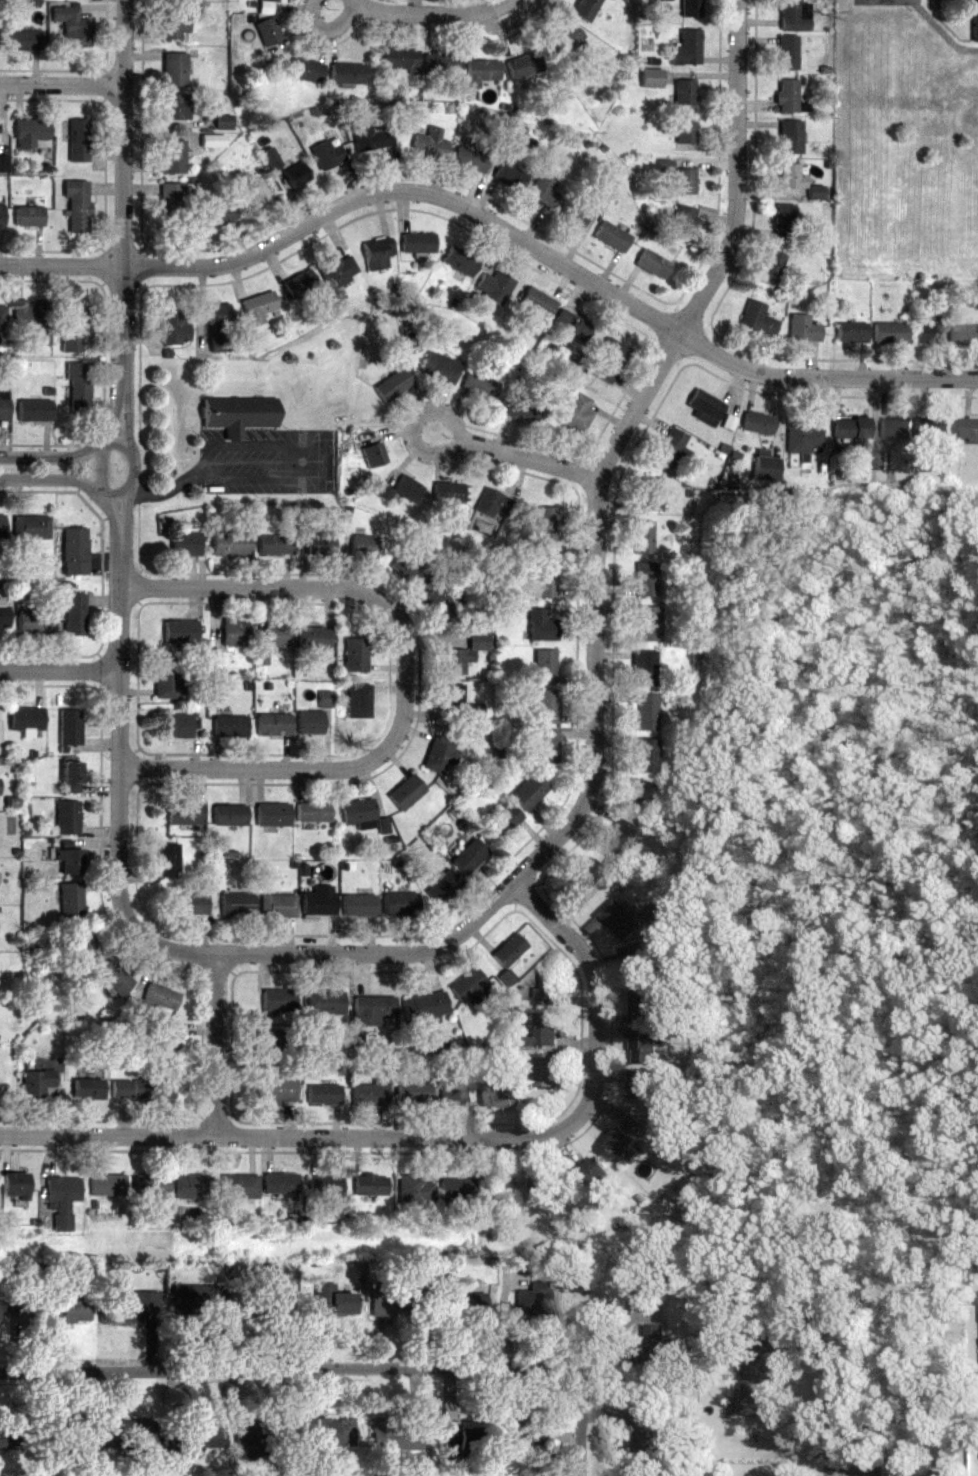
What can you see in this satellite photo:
building: (272, 0)
building: (658, 0)
road: (360, 2)
building: (690, 8)
building: (584, 9)
road: (437, 12)
building: (793, 15)
building: (974, 21)
building: (174, 25)
building: (71, 26)
road: (330, 28)
building: (268, 31)
building: (23, 40)
building: (565, 41)
building: (686, 48)
building: (787, 53)
building: (400, 60)
building: (439, 62)
building: (523, 66)
building: (173, 70)
building: (305, 70)
building: (481, 72)
building: (346, 74)
building: (650, 78)
road: (63, 84)
building: (684, 92)
building: (786, 95)
building: (175, 107)
building: (223, 122)
building: (31, 130)
building: (517, 130)
building: (685, 131)
building: (372, 137)
building: (790, 137)
building: (78, 141)
building: (430, 145)
building: (327, 155)
building: (172, 157)
building: (270, 158)
building: (470, 160)
building: (3, 165)
building: (296, 175)
building: (510, 175)
building: (790, 176)
building: (684, 182)
building: (544, 191)
building: (256, 198)
building: (171, 206)
building: (77, 207)
road: (125, 207)
building: (220, 214)
building: (574, 215)
building: (1, 216)
building: (28, 217)
building: (783, 221)
building: (683, 223)
building: (612, 237)
building: (417, 242)
building: (377, 252)
road: (551, 254)
building: (459, 261)
road: (62, 263)
building: (771, 263)
building: (652, 264)
building: (337, 270)
building: (299, 283)
building: (494, 287)
building: (537, 302)
building: (258, 307)
building: (30, 315)
building: (757, 317)
building: (2, 318)
building: (570, 326)
building: (218, 328)
building: (803, 328)
building: (75, 329)
building: (172, 329)
building: (851, 332)
building: (889, 332)
building: (931, 334)
building: (967, 334)
building: (609, 360)
building: (440, 367)
building: (392, 385)
building: (479, 385)
building: (78, 388)
building: (704, 407)
building: (3, 408)
building: (521, 408)
building: (34, 410)
building: (575, 413)
building: (239, 415)
building: (757, 423)
building: (935, 427)
building: (850, 428)
building: (896, 428)
building: (970, 428)
building: (802, 436)
road: (279, 447)
road: (424, 450)
building: (670, 450)
road: (105, 453)
building: (373, 455)
road: (55, 456)
road: (525, 461)
building: (764, 468)
road: (135, 470)
road: (71, 479)
road: (170, 489)
building: (402, 490)
building: (448, 492)
building: (650, 494)
building: (492, 503)
building: (1, 525)
building: (31, 527)
building: (546, 527)
building: (642, 538)
building: (318, 541)
building: (184, 544)
building: (230, 545)
building: (274, 545)
building: (363, 547)
building: (74, 551)
building: (410, 567)
building: (646, 579)
building: (545, 581)
road: (596, 597)
building: (443, 606)
building: (74, 614)
building: (3, 616)
building: (33, 622)
building: (648, 624)
building: (541, 626)
building: (180, 632)
building: (234, 632)
building: (277, 634)
building: (313, 638)
building: (463, 654)
building: (355, 655)
building: (544, 666)
building: (644, 668)
road: (60, 670)
road: (406, 679)
building: (170, 681)
building: (451, 697)
building: (358, 701)
building: (547, 706)
building: (645, 712)
building: (25, 718)
building: (309, 722)
building: (273, 724)
building: (178, 725)
building: (230, 725)
building: (69, 727)
building: (546, 746)
building: (439, 754)
building: (647, 755)
road: (121, 774)
building: (70, 776)
building: (528, 792)
building: (405, 793)
building: (636, 797)
building: (312, 812)
building: (357, 812)
building: (183, 814)
building: (272, 815)
building: (229, 816)
building: (67, 817)
building: (502, 822)
building: (618, 838)
building: (468, 857)
building: (169, 861)
building: (69, 862)
building: (584, 876)
building: (442, 887)
building: (71, 900)
building: (319, 902)
building: (236, 904)
building: (190, 905)
building: (399, 905)
building: (277, 906)
building: (359, 906)
building: (619, 919)
building: (84, 941)
building: (508, 949)
building: (635, 960)
building: (114, 977)
building: (506, 977)
building: (468, 985)
building: (546, 988)
building: (160, 996)
building: (278, 999)
building: (325, 1002)
building: (424, 1005)
building: (644, 1006)
building: (372, 1009)
building: (545, 1028)
building: (167, 1043)
road: (220, 1043)
building: (643, 1046)
building: (266, 1047)
building: (547, 1069)
building: (36, 1082)
building: (639, 1084)
building: (87, 1088)
building: (276, 1088)
building: (142, 1089)
building: (412, 1092)
building: (458, 1093)
building: (323, 1094)
building: (504, 1094)
building: (369, 1095)
road: (427, 1137)
building: (627, 1140)
building: (594, 1172)
building: (149, 1183)
building: (279, 1183)
building: (106, 1184)
building: (13, 1185)
building: (239, 1185)
building: (369, 1185)
building: (192, 1186)
building: (325, 1186)
building: (546, 1186)
building: (500, 1188)
building: (413, 1189)
building: (456, 1190)
building: (62, 1197)
building: (196, 1297)
building: (11, 1300)
building: (536, 1300)
building: (333, 1301)
building: (276, 1302)
building: (392, 1302)
building: (460, 1304)
building: (138, 1307)
building: (66, 1308)
building: (651, 1344)
road: (291, 1369)
building: (756, 1389)
road: (827, 1410)
road: (583, 1421)
building: (128, 1433)
building: (328, 1433)
building: (524, 1433)
building: (10, 1436)
building: (198, 1436)
building: (393, 1436)
building: (259, 1439)
building: (462, 1441)
building: (646, 1453)

